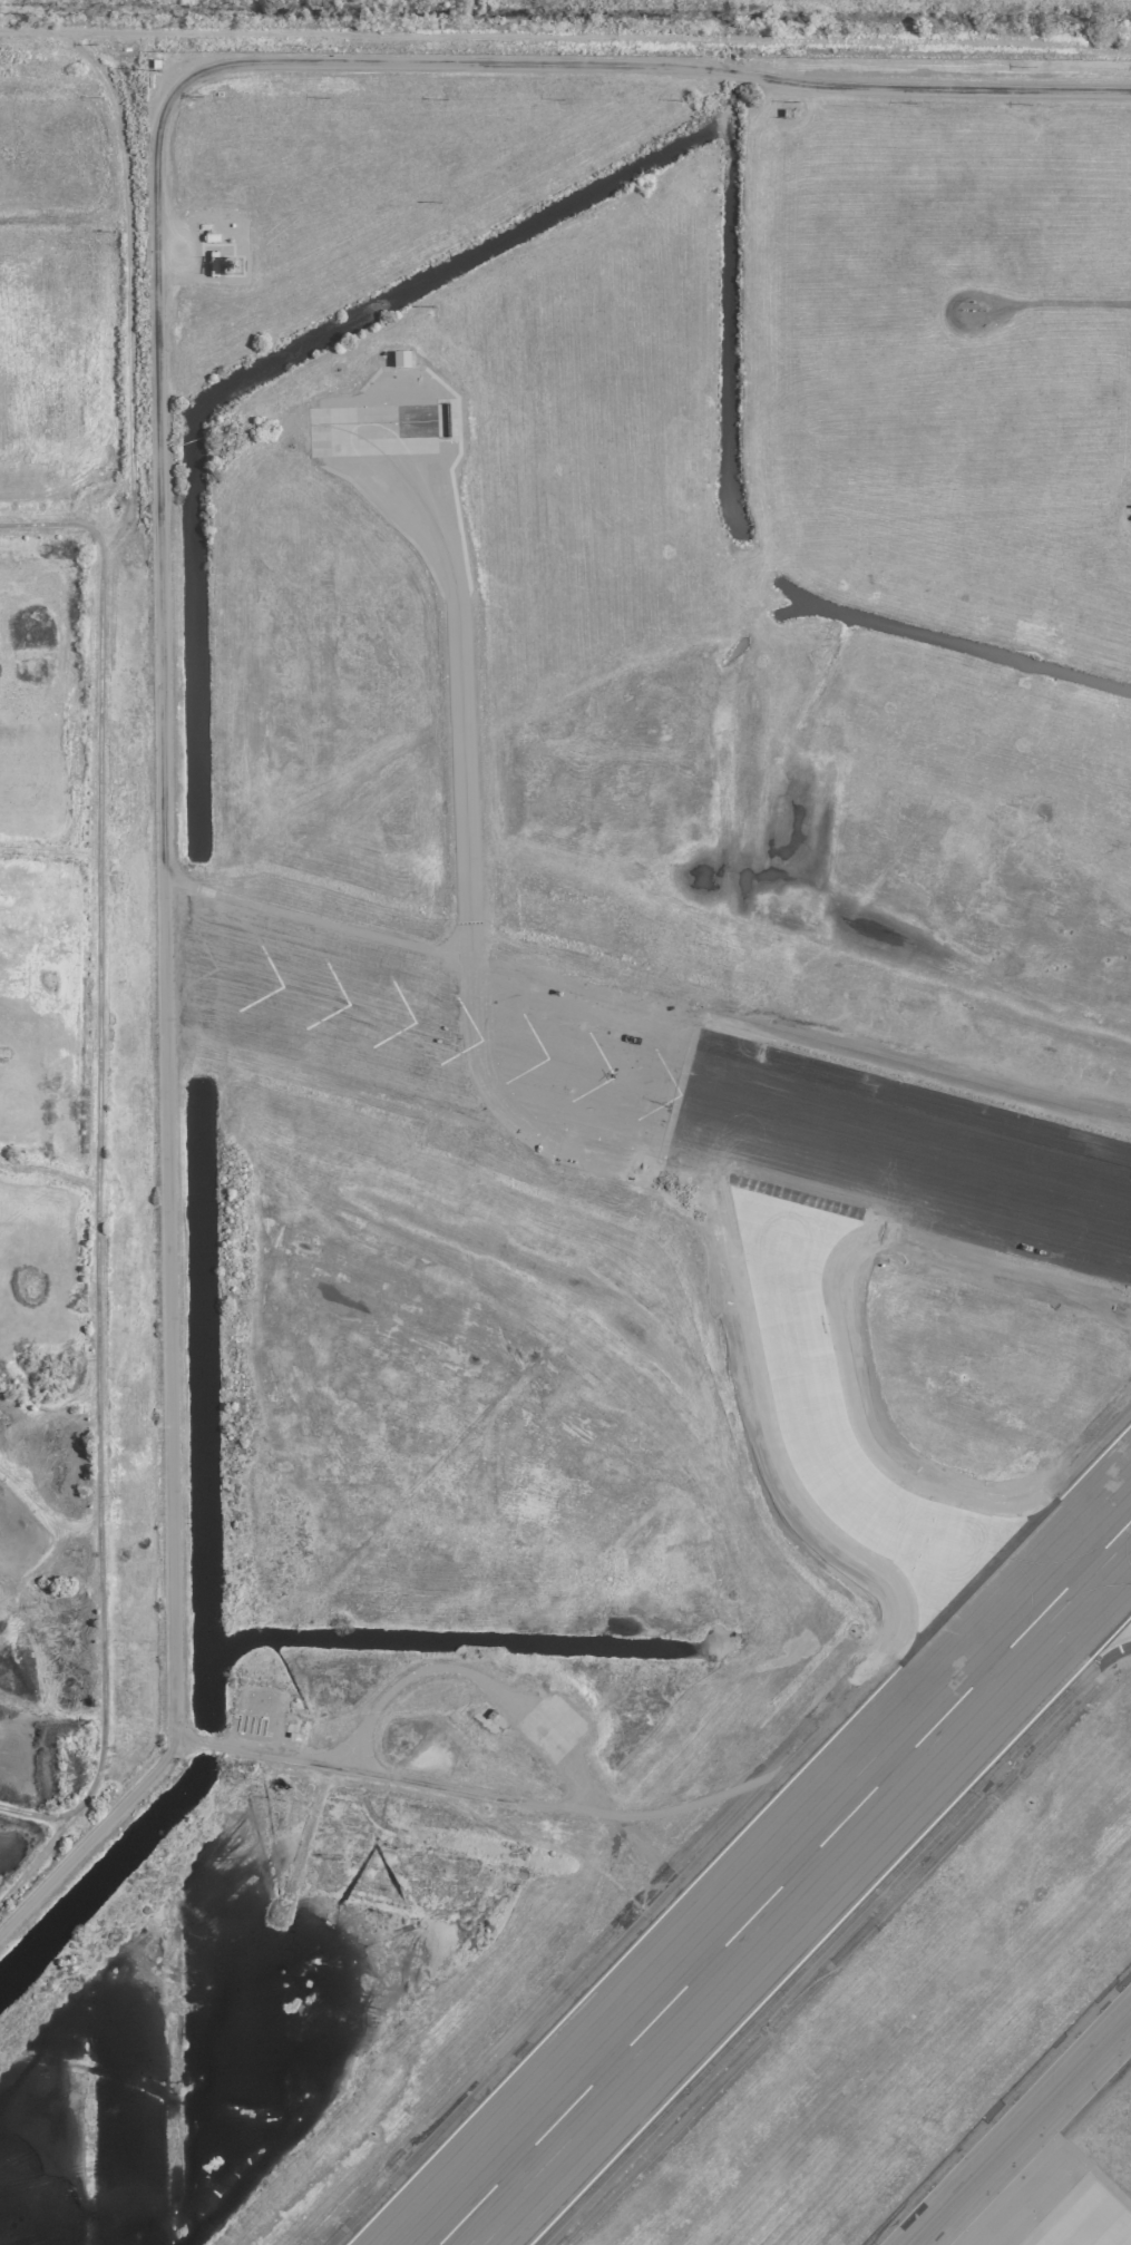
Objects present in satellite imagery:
park: (588, 26)
road: (565, 37)
building: (399, 358)
road: (159, 557)
park: (75, 962)
road: (952, 1074)
airport runway: (674, 1095)
airport: (625, 1171)
airport taxiway: (825, 1461)
road: (860, 1683)
road: (392, 1688)
airport runway: (787, 1885)
airport taxiway: (1023, 2132)
airport apron: (1085, 2219)

